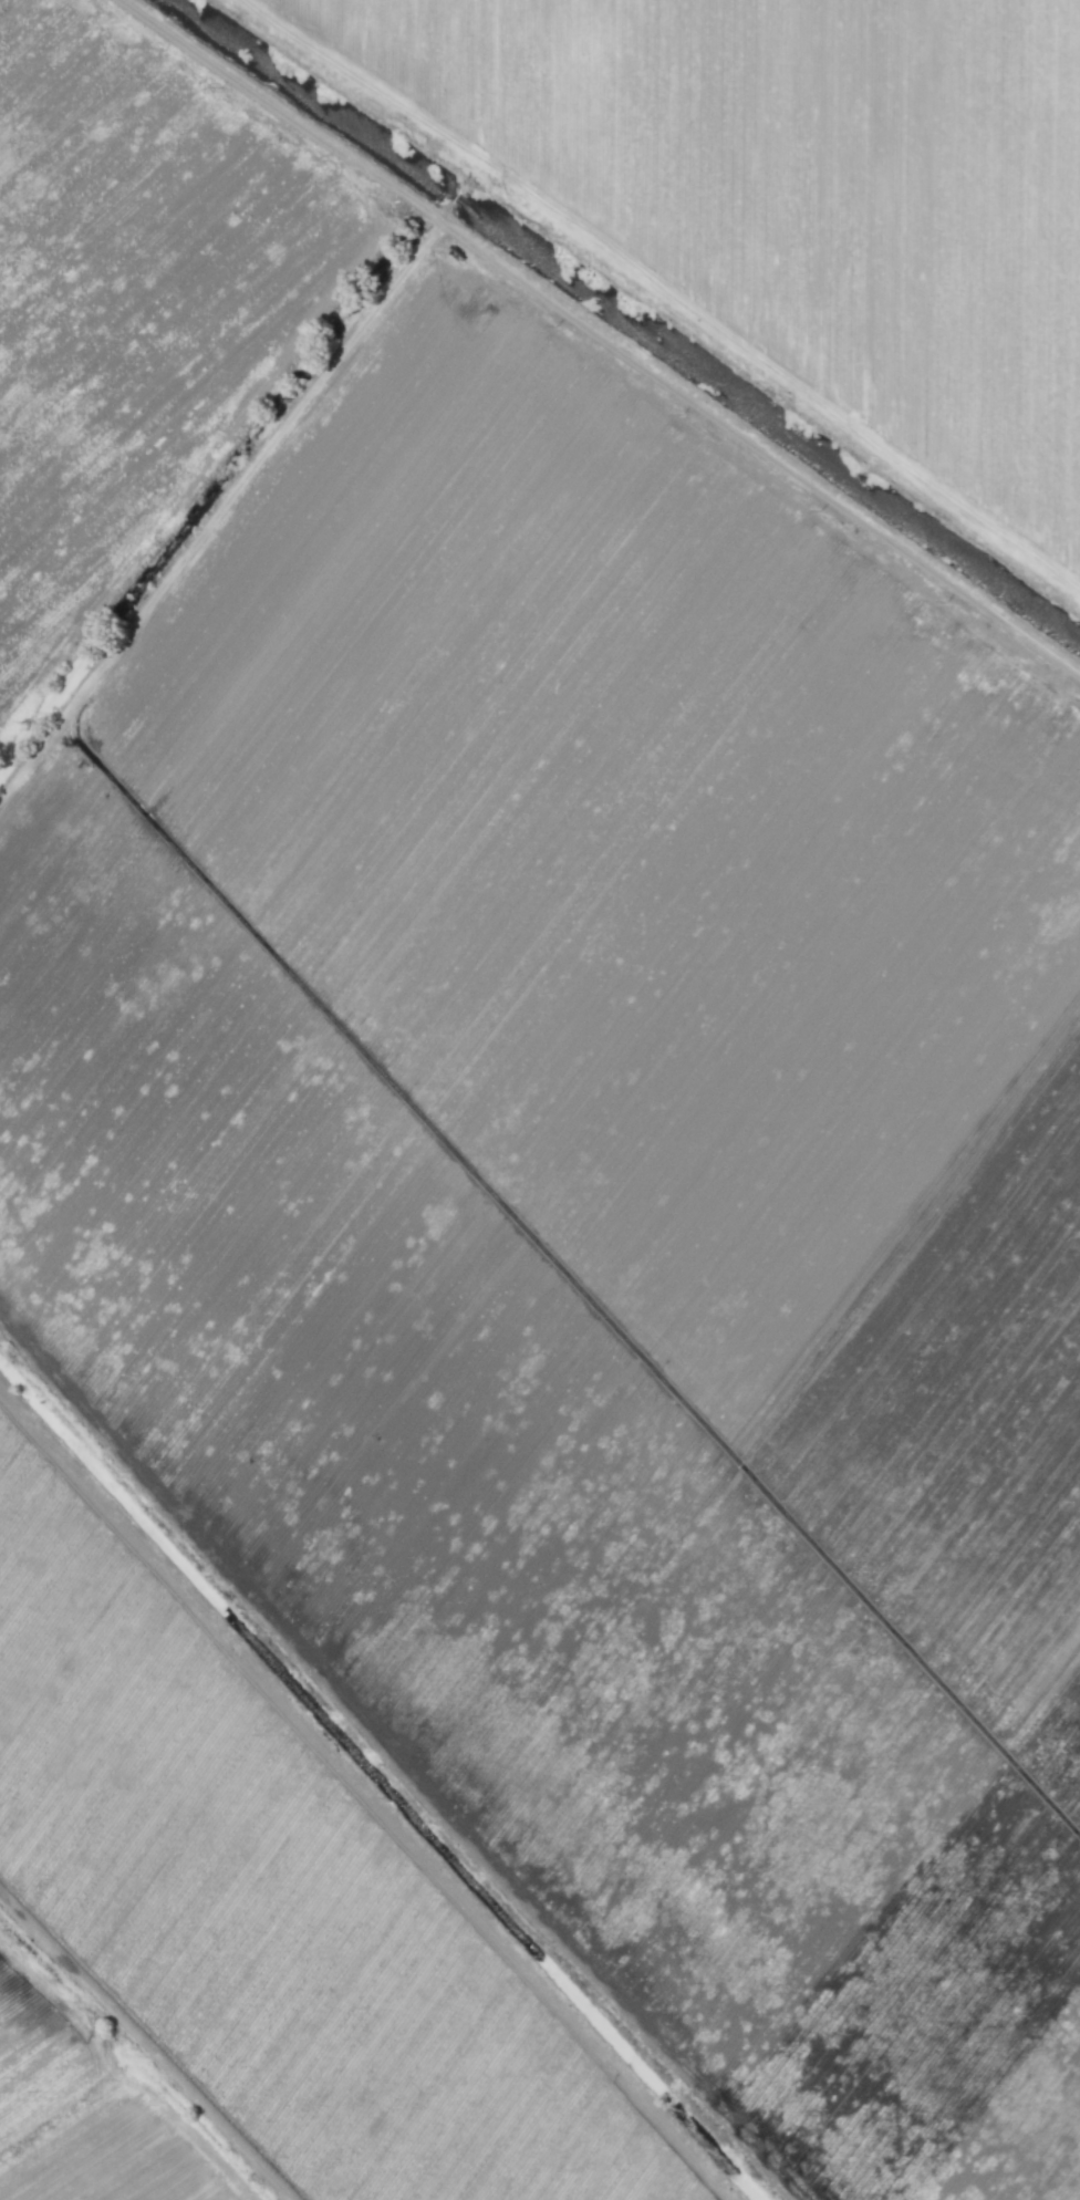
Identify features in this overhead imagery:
crop: (792, 203)
crop: (607, 1203)

